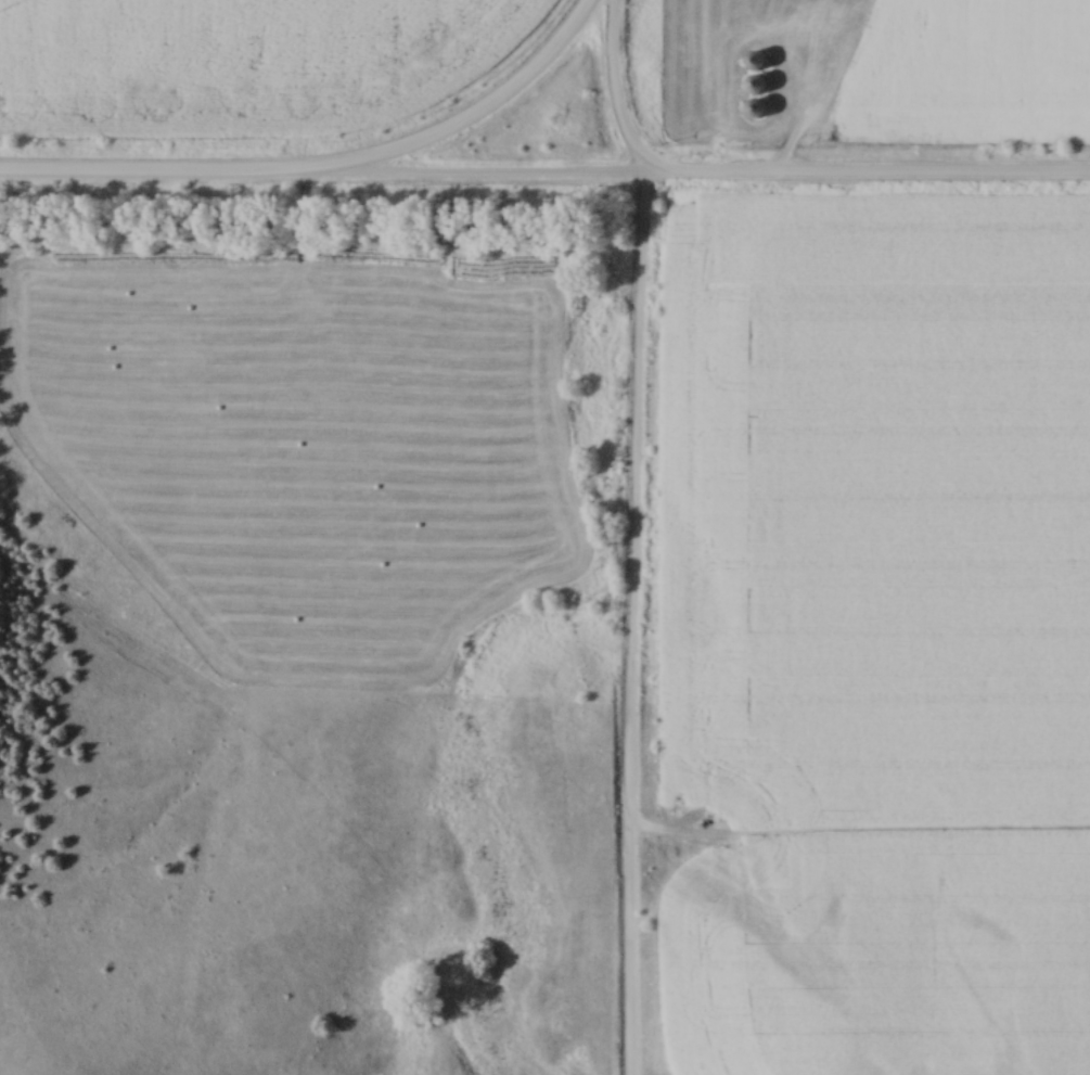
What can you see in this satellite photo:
building: (753, 61)
building: (753, 84)
building: (754, 107)
road: (486, 111)
road: (717, 177)
road: (172, 178)
road: (633, 535)

